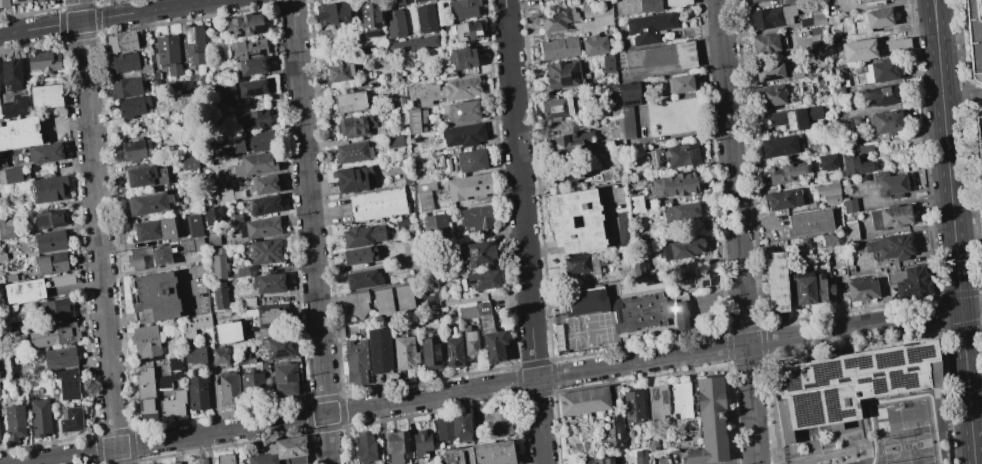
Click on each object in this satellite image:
building: (41, 0)
building: (418, 0)
building: (599, 0)
building: (754, 0)
building: (788, 1)
building: (863, 1)
building: (19, 2)
building: (395, 2)
building: (676, 2)
building: (4, 3)
road: (864, 4)
building: (648, 5)
building: (462, 9)
building: (332, 12)
road: (105, 17)
building: (369, 17)
building: (770, 17)
rooftop solar panel: (345, 18)
building: (424, 19)
building: (557, 19)
building: (817, 19)
building: (871, 20)
building: (394, 23)
building: (245, 24)
building: (648, 27)
rooftop solar panel: (259, 29)
building: (465, 30)
rooftop solar panel: (240, 33)
road: (560, 34)
rooftop solar panel: (189, 35)
rooftop solar panel: (372, 35)
building: (975, 36)
building: (121, 41)
building: (763, 42)
building: (897, 43)
building: (193, 44)
building: (412, 44)
building: (593, 45)
building: (856, 46)
building: (248, 48)
building: (558, 48)
building: (167, 53)
building: (660, 56)
building: (461, 57)
building: (42, 61)
building: (123, 62)
building: (607, 63)
building: (250, 66)
building: (144, 71)
building: (768, 71)
building: (339, 72)
building: (876, 72)
building: (11, 74)
building: (562, 74)
building: (154, 76)
rooftop solar panel: (769, 78)
rooftop solar panel: (564, 80)
building: (679, 83)
building: (155, 85)
building: (981, 85)
building: (125, 87)
building: (250, 87)
building: (837, 88)
building: (449, 90)
rooftop solar panel: (254, 91)
building: (183, 93)
building: (770, 95)
building: (881, 95)
building: (45, 96)
building: (348, 102)
building: (132, 106)
building: (627, 106)
building: (14, 108)
building: (555, 108)
building: (462, 110)
building: (795, 117)
building: (255, 119)
rooftop solar panel: (791, 120)
building: (856, 120)
building: (413, 121)
building: (885, 122)
building: (353, 125)
building: (18, 133)
building: (463, 135)
building: (979, 137)
building: (393, 140)
building: (568, 141)
building: (253, 142)
building: (778, 146)
building: (864, 148)
building: (135, 149)
building: (353, 152)
building: (42, 153)
rooftop solar panel: (693, 153)
road: (947, 154)
building: (674, 155)
rooftop solar panel: (660, 158)
rooftop solar panel: (652, 159)
building: (471, 160)
building: (187, 161)
building: (826, 161)
building: (254, 164)
building: (854, 165)
building: (11, 172)
road: (732, 172)
building: (784, 172)
building: (570, 174)
building: (143, 176)
building: (353, 178)
building: (889, 183)
building: (263, 184)
building: (673, 184)
building: (468, 186)
building: (47, 189)
building: (828, 192)
building: (225, 194)
building: (424, 195)
building: (782, 199)
building: (147, 203)
building: (377, 203)
building: (635, 203)
building: (264, 204)
building: (849, 205)
building: (679, 211)
building: (212, 215)
building: (889, 216)
building: (476, 218)
building: (49, 219)
building: (808, 222)
building: (559, 223)
building: (401, 224)
building: (193, 225)
building: (434, 226)
building: (259, 227)
building: (622, 228)
building: (6, 229)
building: (154, 230)
building: (849, 230)
road: (310, 231)
road: (524, 231)
road: (97, 232)
building: (362, 235)
building: (831, 238)
building: (212, 241)
building: (47, 242)
building: (189, 245)
building: (891, 246)
building: (681, 248)
building: (264, 251)
building: (479, 253)
building: (359, 255)
building: (149, 257)
building: (216, 262)
building: (48, 263)
building: (583, 263)
building: (631, 268)
building: (241, 271)
building: (362, 279)
building: (483, 279)
building: (691, 279)
building: (60, 280)
rooftop solar panel: (706, 280)
building: (774, 282)
building: (910, 282)
building: (267, 283)
rooftop solar panel: (690, 284)
rooftop solar panel: (698, 285)
building: (802, 287)
building: (825, 287)
building: (860, 288)
rooftop solar panel: (799, 289)
building: (23, 291)
building: (219, 295)
building: (154, 297)
building: (403, 298)
building: (430, 299)
building: (248, 301)
building: (382, 301)
building: (360, 304)
road: (971, 307)
building: (619, 308)
building: (51, 310)
traffic signals: (960, 310)
building: (677, 313)
building: (269, 316)
building: (194, 325)
road: (853, 328)
building: (484, 329)
building: (227, 332)
building: (53, 335)
building: (144, 341)
building: (469, 341)
building: (278, 347)
building: (379, 350)
building: (453, 352)
rooftop solar panel: (280, 353)
building: (404, 353)
building: (430, 353)
rooftop solar panel: (449, 353)
rooftop solar panel: (918, 353)
building: (194, 354)
building: (219, 354)
building: (60, 358)
rooftop solar panel: (886, 358)
rooftop solar panel: (856, 361)
building: (356, 362)
rooftop solar panel: (455, 362)
building: (174, 368)
rooftop solar panel: (823, 372)
rooftop solar panel: (791, 378)
building: (284, 379)
rooftop solar panel: (902, 380)
building: (162, 382)
building: (66, 383)
building: (847, 383)
rooftop solar panel: (878, 386)
road: (967, 386)
building: (251, 387)
building: (228, 389)
building: (196, 392)
building: (144, 393)
rooftop solar panel: (653, 395)
rooftop solar panel: (664, 399)
building: (680, 400)
building: (583, 401)
building: (657, 402)
road: (751, 402)
building: (173, 404)
road: (382, 405)
rooftop solar panel: (831, 405)
building: (632, 407)
rooftop solar panel: (807, 410)
building: (40, 418)
building: (70, 420)
building: (13, 422)
building: (498, 422)
building: (711, 423)
building: (460, 426)
building: (443, 430)
building: (420, 442)
building: (652, 445)
building: (394, 447)
building: (364, 448)
building: (282, 452)
building: (480, 454)
building: (224, 459)
building: (201, 460)
building: (598, 460)
building: (640, 460)
road: (741, 462)
road: (756, 462)
building: (174, 463)
road: (666, 463)

